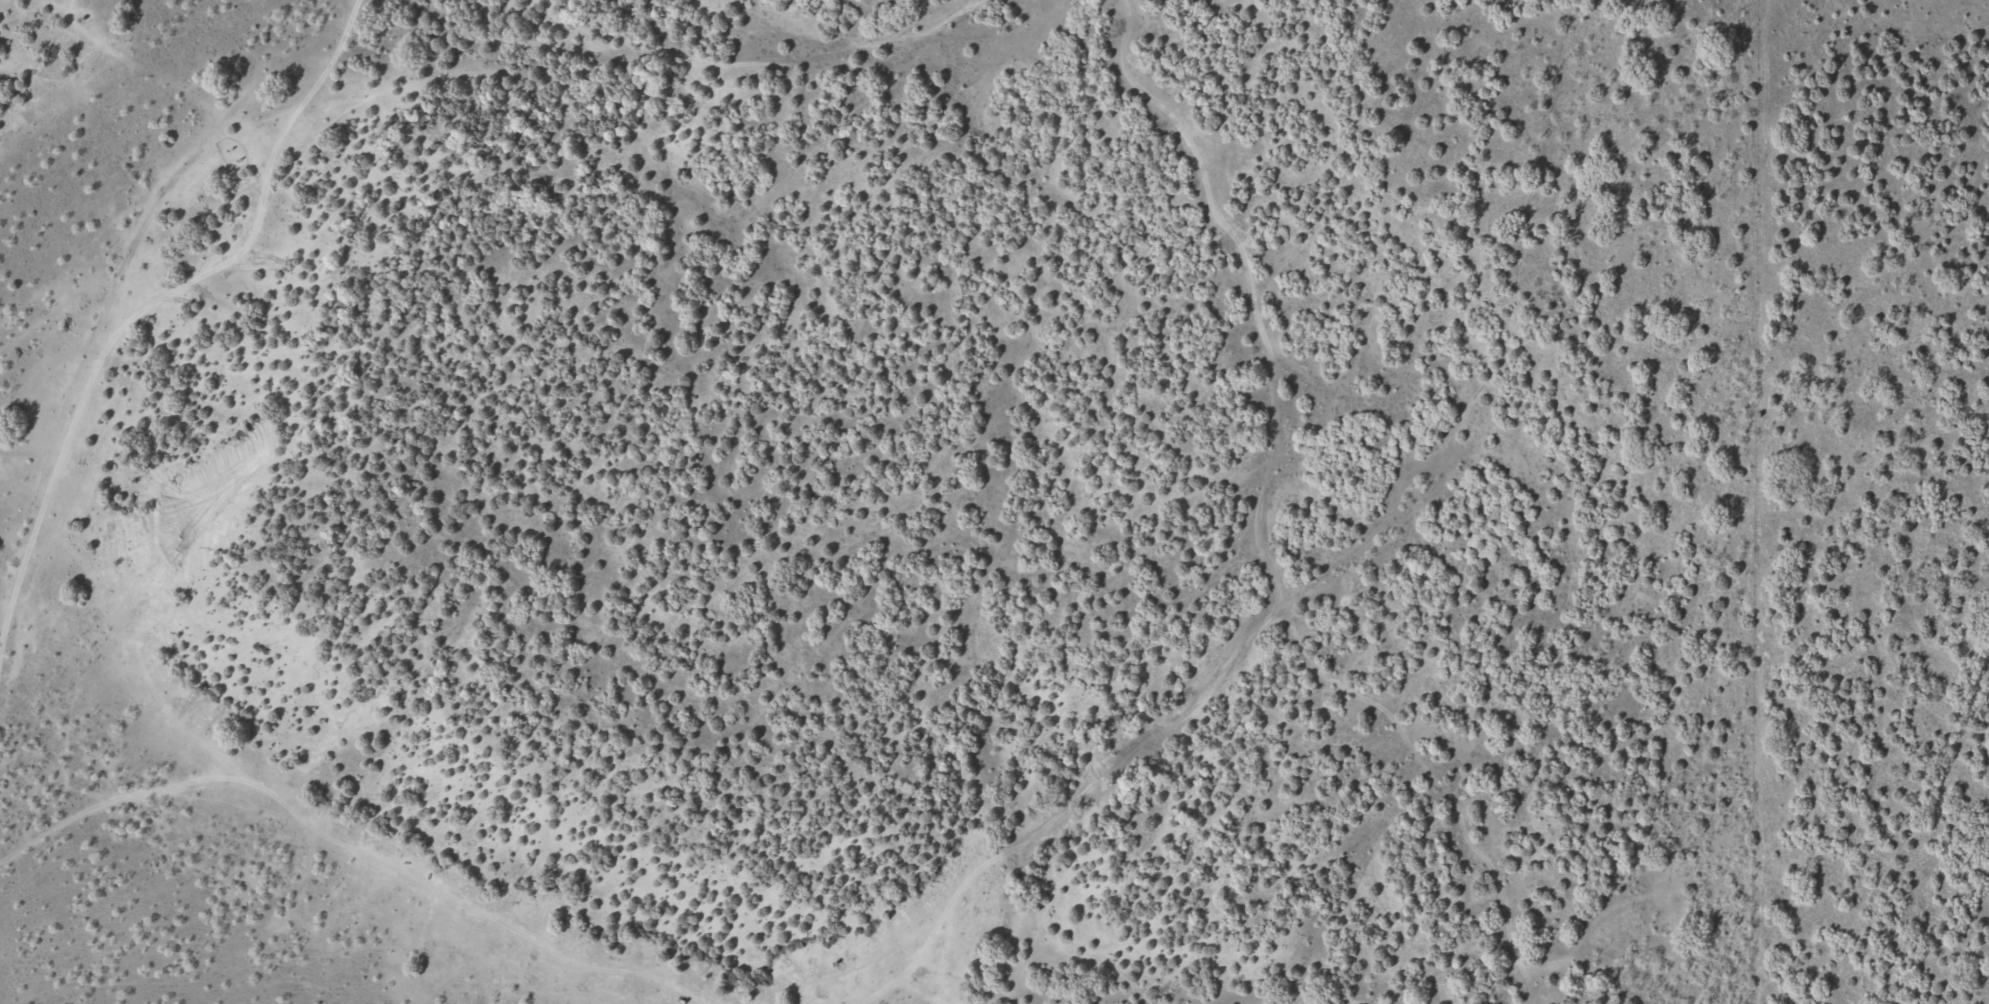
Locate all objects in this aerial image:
road: (173, 230)
road: (882, 979)

